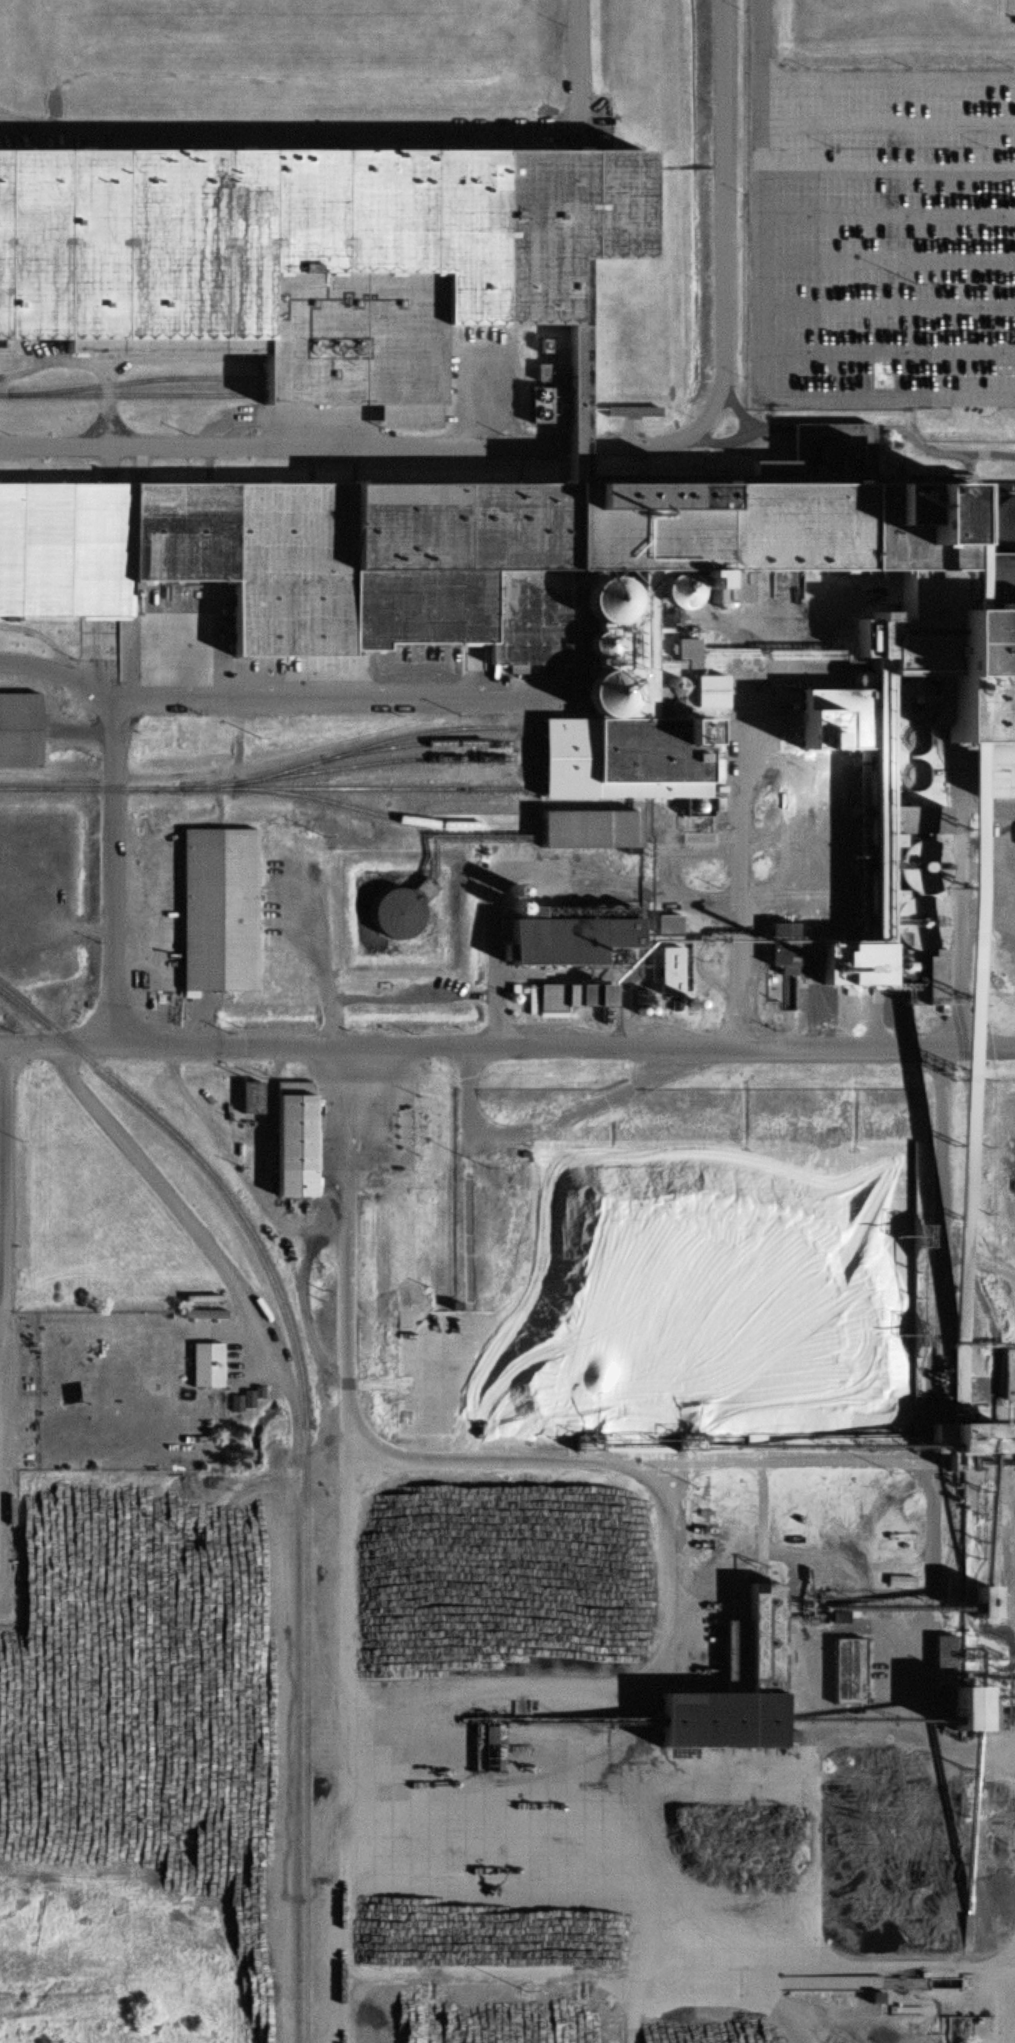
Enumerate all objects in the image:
road: (889, 78)
road: (889, 123)
road: (348, 128)
road: (808, 162)
road: (889, 214)
building: (304, 256)
road: (888, 261)
road: (720, 276)
road: (888, 305)
road: (887, 353)
road: (113, 361)
railway: (115, 382)
railway: (112, 394)
road: (484, 399)
building: (564, 399)
road: (773, 400)
road: (106, 404)
road: (565, 444)
road: (272, 445)
building: (992, 487)
building: (467, 553)
road: (96, 651)
building: (943, 657)
road: (314, 689)
road: (74, 729)
building: (19, 730)
railway: (419, 742)
railway: (353, 751)
building: (620, 757)
railway: (381, 761)
railway: (264, 788)
road: (110, 813)
railway: (384, 815)
building: (582, 828)
building: (858, 841)
building: (1014, 845)
building: (860, 889)
building: (213, 910)
building: (403, 911)
storage tank: (403, 911)
building: (665, 925)
building: (560, 939)
road: (319, 967)
building: (664, 972)
building: (577, 997)
road: (507, 1044)
road: (552, 1120)
building: (292, 1137)
road: (1, 1177)
road: (203, 1245)
road: (345, 1353)
building: (206, 1366)
building: (1005, 1376)
building: (970, 1438)
railway: (305, 1455)
road: (290, 1474)
building: (989, 1601)
building: (728, 1687)
building: (975, 1706)
building: (951, 1712)
building: (967, 1935)

